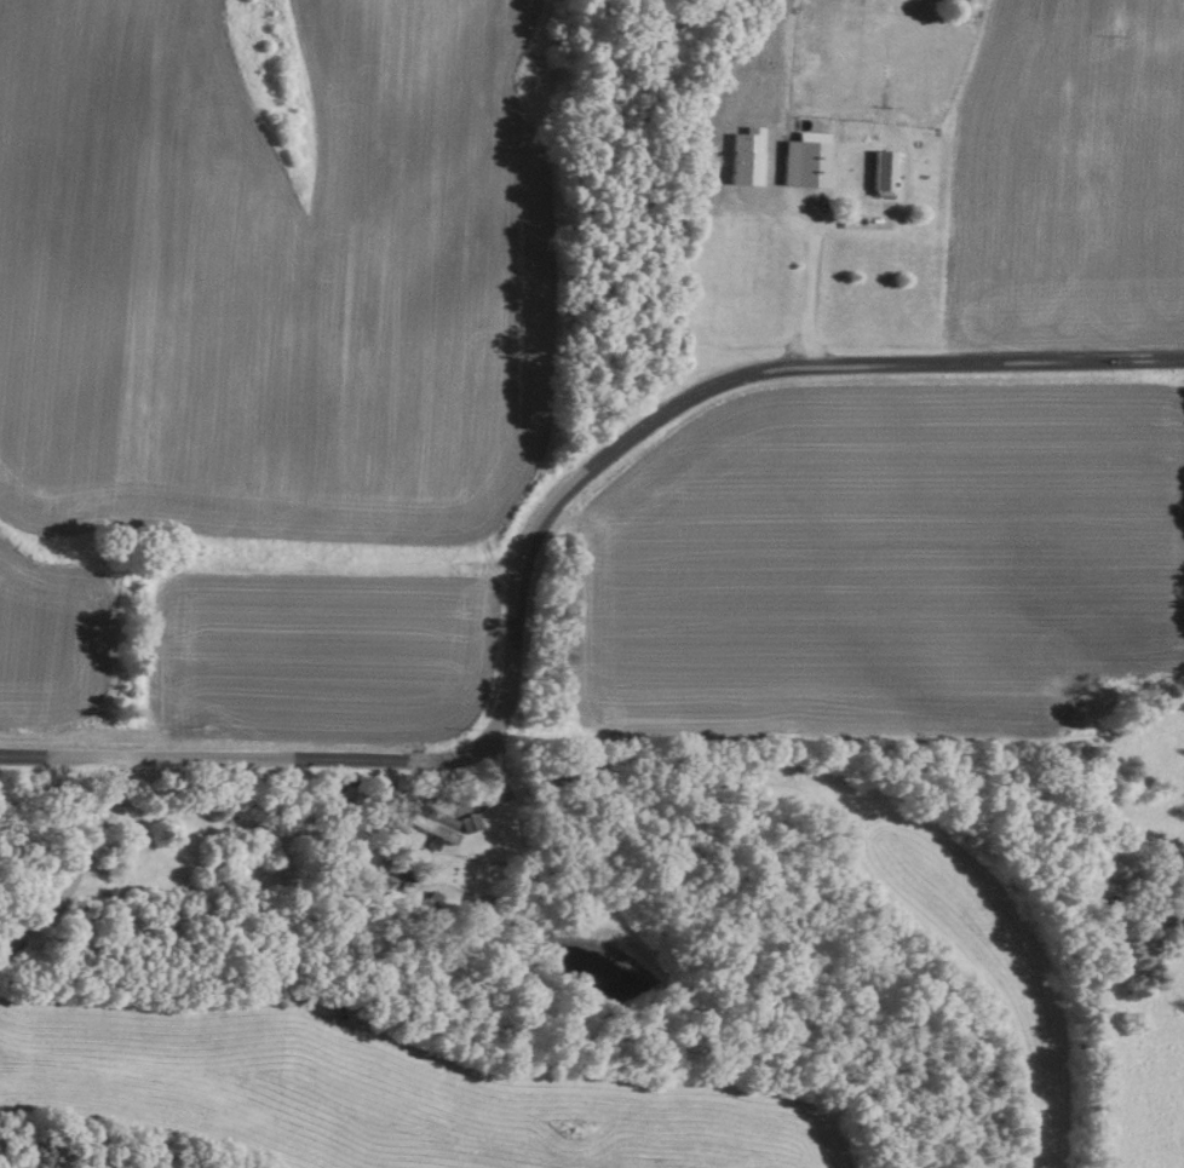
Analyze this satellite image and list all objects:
building: (798, 166)
building: (874, 176)
road: (525, 529)
building: (469, 825)
building: (431, 828)

